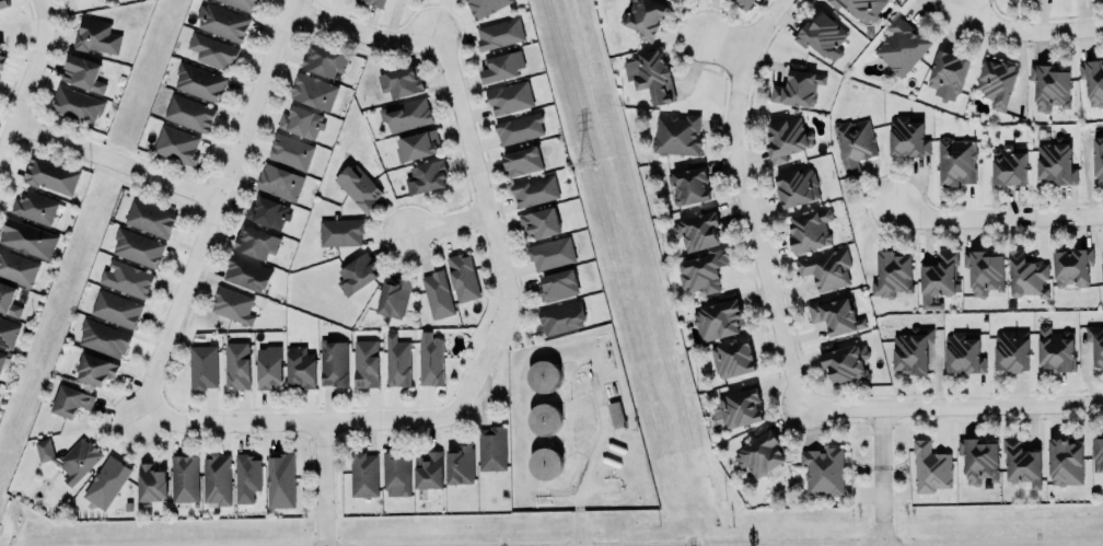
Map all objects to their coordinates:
building: (372, 2)
building: (743, 2)
building: (3, 3)
building: (241, 3)
building: (484, 7)
building: (860, 8)
building: (642, 16)
building: (221, 22)
building: (499, 32)
road: (1031, 33)
road: (360, 35)
building: (96, 36)
building: (822, 36)
building: (0, 43)
road: (728, 46)
building: (902, 46)
building: (0, 48)
building: (211, 51)
building: (1, 60)
building: (324, 61)
building: (502, 66)
building: (83, 72)
building: (948, 73)
building: (649, 74)
road: (30, 79)
building: (1092, 80)
building: (198, 82)
building: (400, 82)
building: (997, 82)
building: (797, 86)
building: (1049, 86)
building: (312, 91)
building: (509, 97)
building: (77, 104)
building: (188, 113)
building: (405, 114)
building: (302, 120)
building: (519, 128)
building: (676, 133)
building: (906, 137)
building: (786, 138)
building: (176, 144)
building: (852, 144)
building: (417, 146)
building: (291, 151)
building: (1098, 156)
road: (116, 159)
power tower: (579, 159)
building: (521, 160)
building: (955, 161)
building: (1055, 163)
building: (1008, 167)
building: (50, 174)
building: (426, 176)
building: (279, 182)
road: (476, 183)
building: (358, 186)
building: (688, 186)
building: (796, 186)
building: (534, 190)
road: (748, 199)
building: (35, 207)
road: (213, 210)
building: (268, 212)
road: (999, 217)
building: (150, 218)
building: (538, 222)
road: (448, 224)
building: (809, 230)
building: (340, 231)
building: (696, 231)
building: (27, 237)
building: (255, 241)
building: (137, 247)
building: (550, 253)
building: (18, 267)
building: (1071, 267)
building: (826, 268)
building: (703, 270)
building: (983, 271)
building: (247, 272)
building: (357, 274)
building: (1025, 275)
building: (1102, 275)
building: (892, 276)
building: (938, 276)
building: (126, 278)
building: (464, 278)
building: (557, 284)
building: (438, 293)
building: (393, 298)
building: (8, 299)
building: (232, 304)
building: (115, 309)
building: (835, 315)
building: (560, 317)
building: (717, 320)
building: (8, 332)
building: (104, 338)
building: (1095, 342)
building: (1055, 349)
building: (912, 350)
building: (1010, 350)
building: (963, 352)
building: (1, 358)
building: (732, 358)
building: (430, 359)
building: (396, 361)
building: (333, 362)
building: (845, 362)
building: (365, 363)
building: (204, 365)
building: (237, 365)
building: (268, 367)
building: (95, 369)
building: (301, 369)
building: (543, 374)
storage tank: (543, 374)
building: (70, 402)
building: (740, 405)
road: (952, 407)
building: (615, 414)
building: (543, 418)
storage tank: (543, 418)
road: (339, 420)
road: (882, 437)
building: (491, 448)
building: (759, 453)
building: (1098, 453)
road: (590, 456)
building: (70, 458)
building: (979, 461)
building: (1065, 461)
building: (544, 463)
storage tank: (544, 463)
building: (1021, 463)
building: (460, 464)
building: (930, 467)
building: (823, 469)
building: (429, 471)
building: (396, 473)
building: (363, 474)
building: (246, 477)
building: (183, 478)
building: (216, 479)
building: (280, 480)
building: (106, 483)
building: (151, 483)
road: (325, 484)
road: (597, 487)
road: (565, 498)
road: (881, 507)

